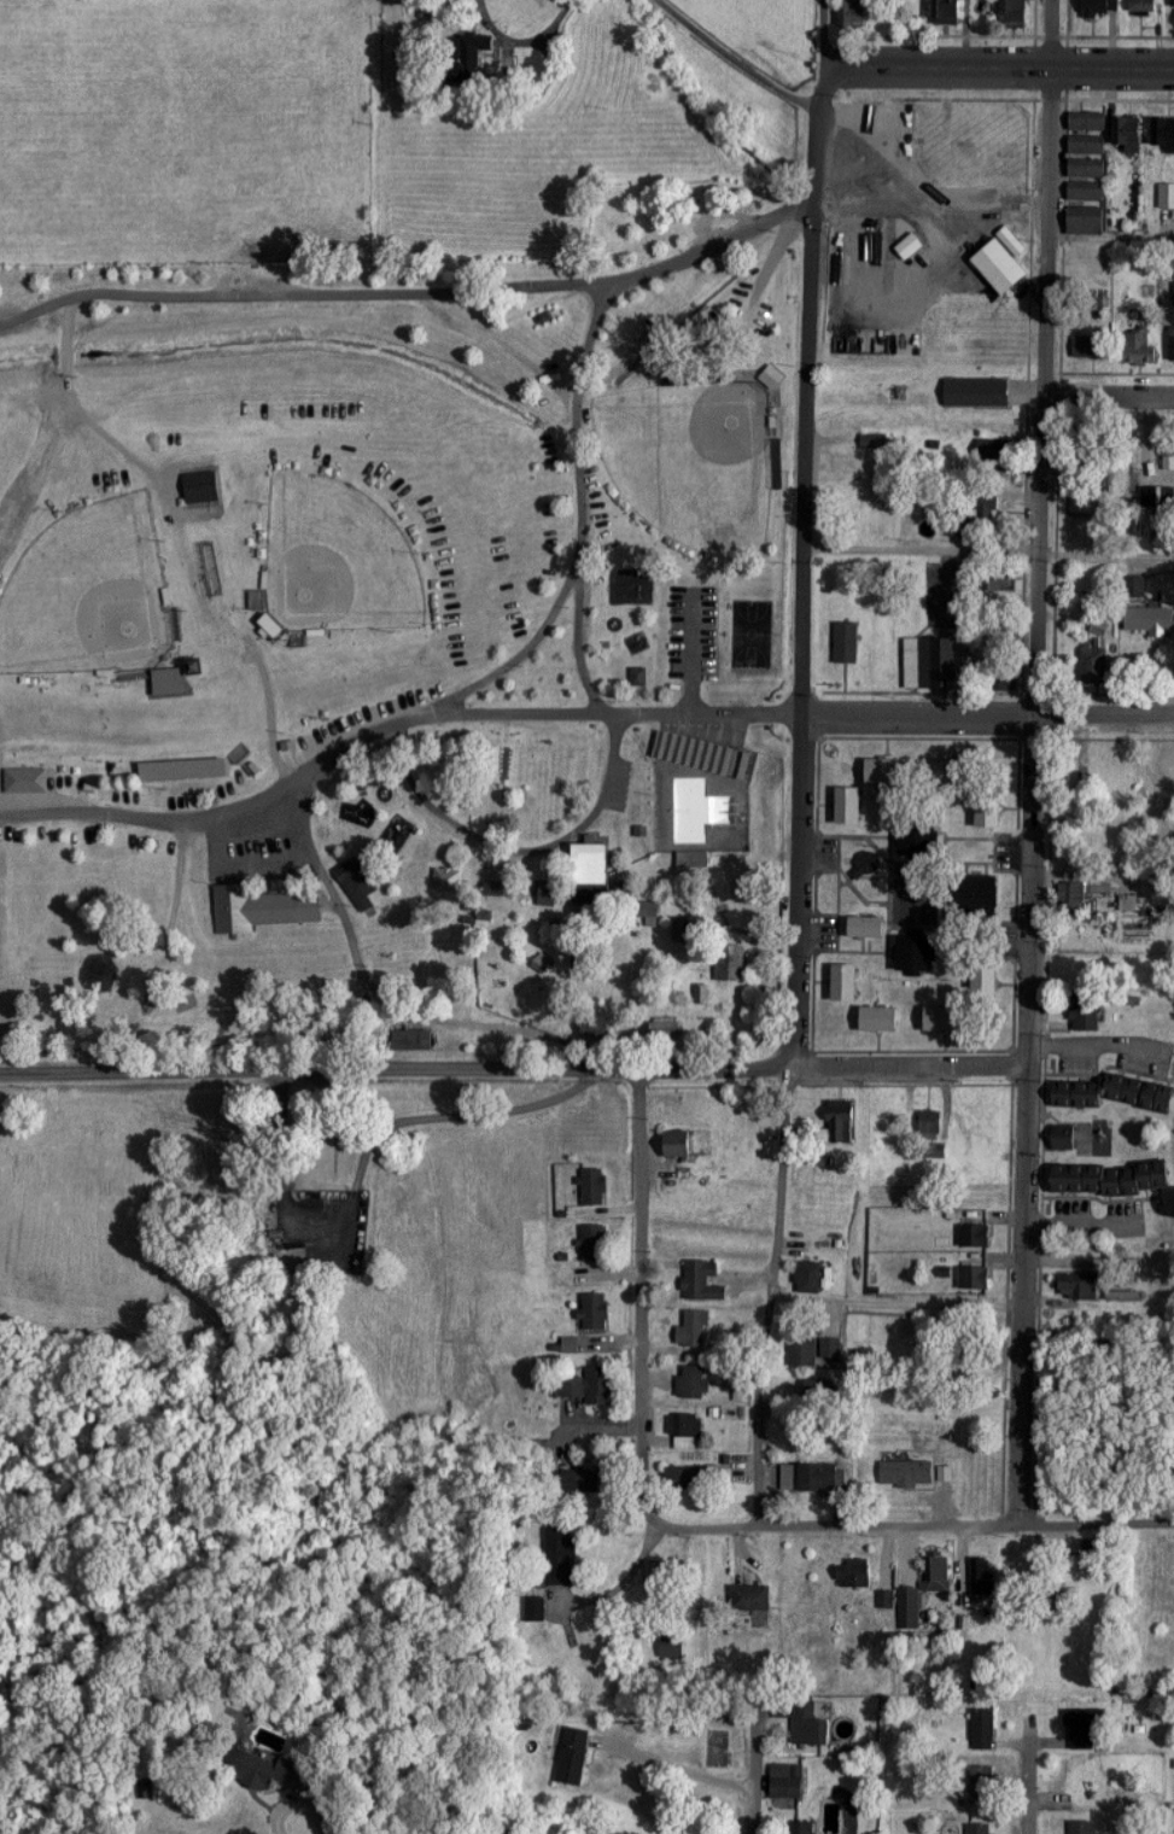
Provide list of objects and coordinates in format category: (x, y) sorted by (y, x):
building: (1173, 6)
building: (1144, 7)
building: (1100, 8)
building: (951, 13)
building: (1016, 13)
building: (853, 16)
road: (730, 18)
road: (820, 33)
road: (1055, 34)
road: (741, 37)
building: (474, 54)
road: (997, 66)
building: (1087, 123)
building: (1129, 135)
building: (1164, 135)
building: (1088, 146)
building: (1087, 169)
building: (1087, 193)
building: (1168, 198)
road: (899, 199)
building: (1086, 227)
road: (1112, 235)
building: (1003, 268)
building: (1173, 296)
road: (410, 297)
building: (1172, 341)
building: (1090, 347)
building: (1139, 350)
road: (1110, 395)
building: (1163, 460)
building: (847, 472)
building: (201, 486)
building: (985, 512)
road: (987, 551)
road: (800, 566)
building: (997, 579)
road: (578, 600)
building: (1150, 620)
building: (273, 626)
building: (1099, 627)
building: (846, 642)
road: (508, 653)
building: (933, 662)
building: (1096, 665)
building: (170, 681)
road: (986, 718)
road: (376, 719)
building: (703, 754)
building: (1156, 771)
building: (957, 773)
building: (893, 777)
building: (27, 781)
road: (1030, 795)
building: (851, 806)
building: (991, 810)
building: (591, 864)
building: (866, 866)
building: (362, 889)
building: (1086, 895)
building: (977, 896)
building: (262, 909)
road: (340, 924)
building: (869, 928)
building: (918, 953)
building: (731, 963)
building: (1074, 977)
building: (847, 983)
building: (986, 983)
building: (1085, 1015)
building: (881, 1020)
building: (947, 1020)
building: (414, 1040)
road: (1090, 1046)
road: (746, 1067)
road: (234, 1076)
building: (1114, 1096)
building: (840, 1122)
building: (931, 1126)
building: (679, 1144)
building: (1064, 1144)
road: (362, 1150)
building: (1110, 1180)
building: (594, 1187)
building: (976, 1237)
building: (596, 1244)
building: (810, 1279)
building: (976, 1279)
building: (703, 1283)
building: (1079, 1287)
road: (772, 1296)
road: (896, 1303)
building: (596, 1313)
road: (639, 1325)
building: (699, 1337)
building: (831, 1350)
building: (804, 1353)
building: (693, 1383)
building: (591, 1388)
building: (688, 1432)
building: (907, 1474)
building: (688, 1479)
building: (810, 1479)
building: (580, 1483)
road: (941, 1524)
building: (559, 1558)
building: (854, 1576)
building: (983, 1578)
building: (923, 1591)
building: (750, 1600)
building: (886, 1601)
building: (535, 1611)
building: (671, 1647)
building: (808, 1725)
building: (982, 1729)
building: (1082, 1733)
building: (574, 1758)
road: (673, 1768)
building: (255, 1770)
road: (750, 1775)
road: (1020, 1775)
building: (789, 1782)
building: (982, 1786)
building: (1087, 1787)
road: (296, 1801)
building: (802, 1828)
building: (1082, 1828)
building: (981, 1829)

